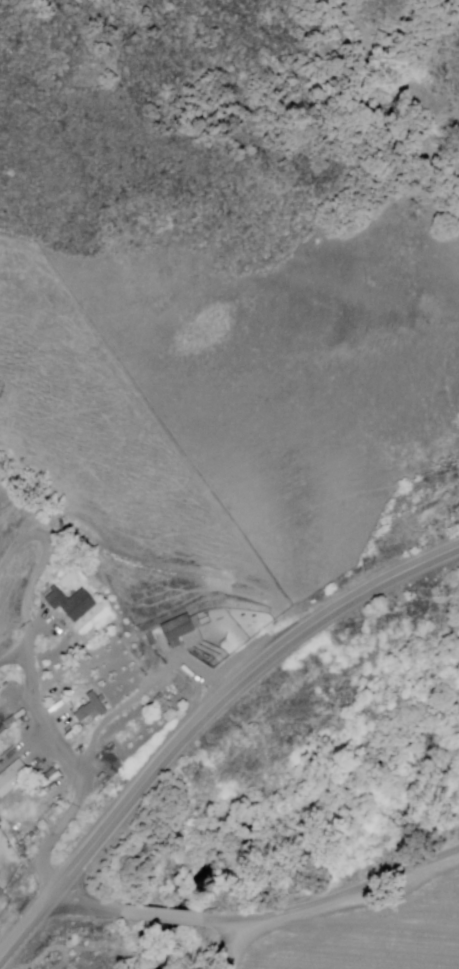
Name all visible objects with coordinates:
road: (46, 544)
building: (73, 604)
building: (180, 627)
road: (13, 658)
road: (142, 691)
building: (94, 708)
road: (199, 721)
road: (70, 763)
building: (14, 777)
building: (45, 778)
road: (260, 919)
crop: (372, 932)
road: (226, 944)

